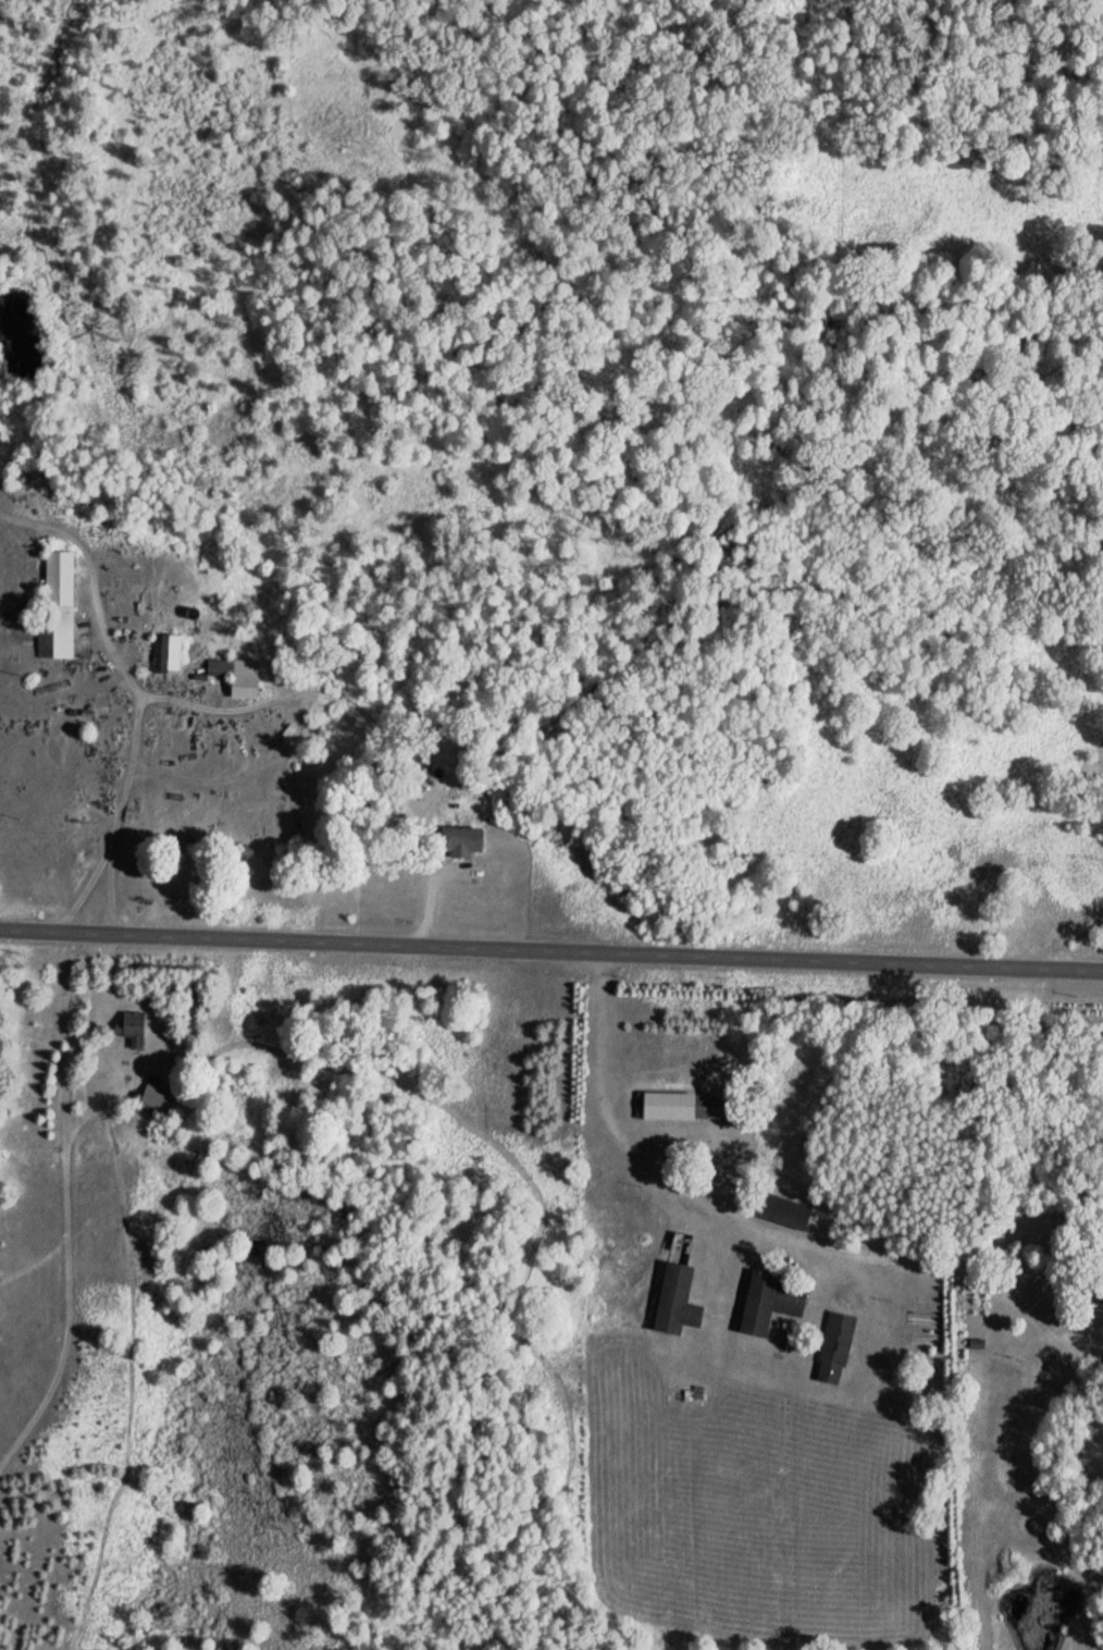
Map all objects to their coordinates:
building: (59, 604)
building: (165, 653)
building: (234, 675)
building: (459, 840)
road: (550, 948)
building: (131, 1027)
building: (159, 1097)
building: (681, 1105)
building: (768, 1301)
building: (672, 1302)
building: (833, 1347)

